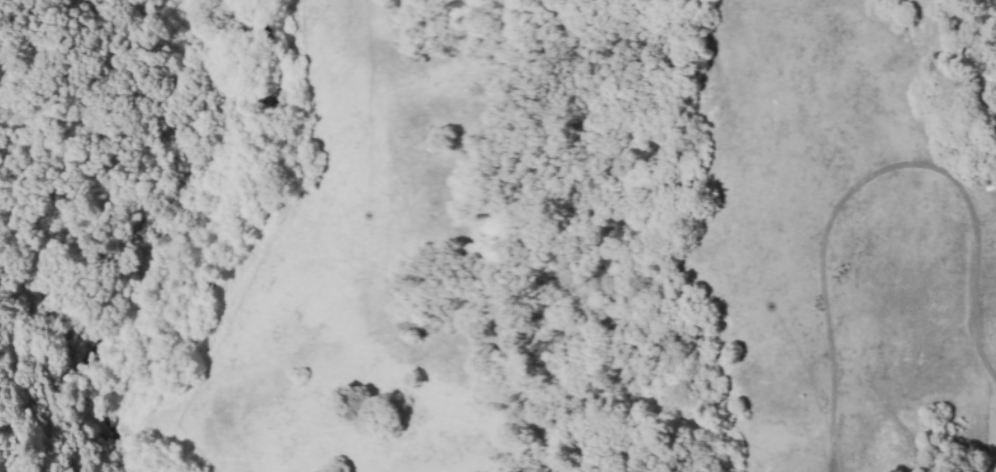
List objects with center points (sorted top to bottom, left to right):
road: (860, 181)

